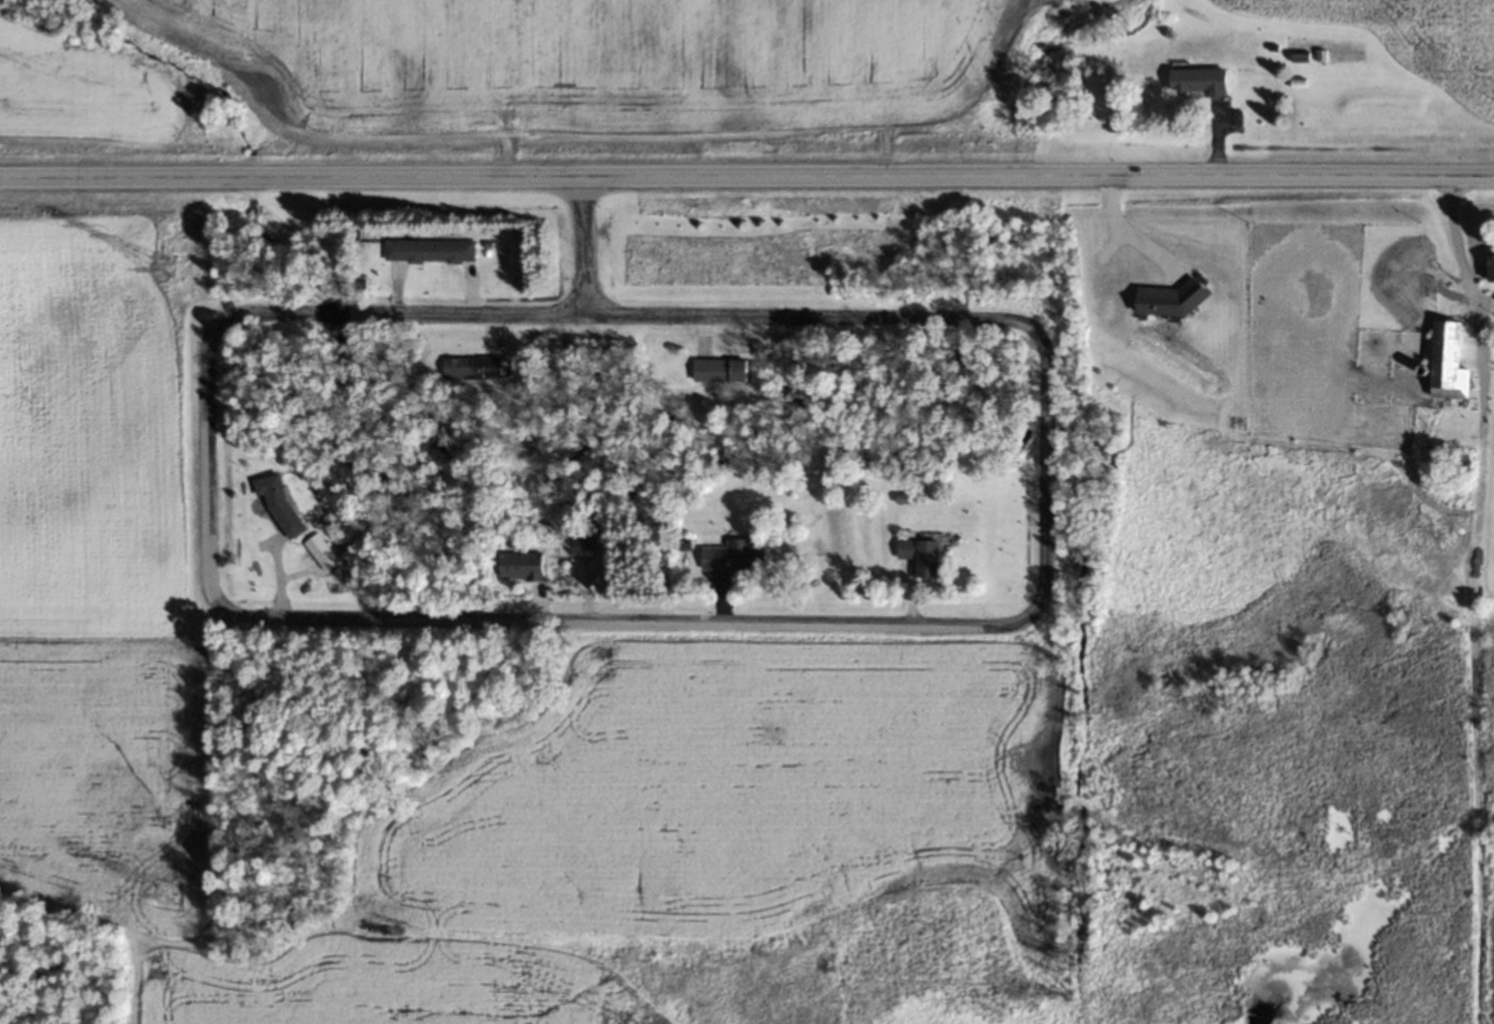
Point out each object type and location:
building: (1298, 55)
building: (1197, 79)
road: (746, 175)
road: (583, 244)
building: (427, 249)
building: (1490, 261)
power tower: (162, 265)
building: (1448, 360)
building: (471, 367)
building: (718, 368)
building: (276, 500)
building: (319, 550)
building: (731, 554)
building: (918, 554)
building: (518, 563)
road: (327, 618)
power tower: (168, 892)

